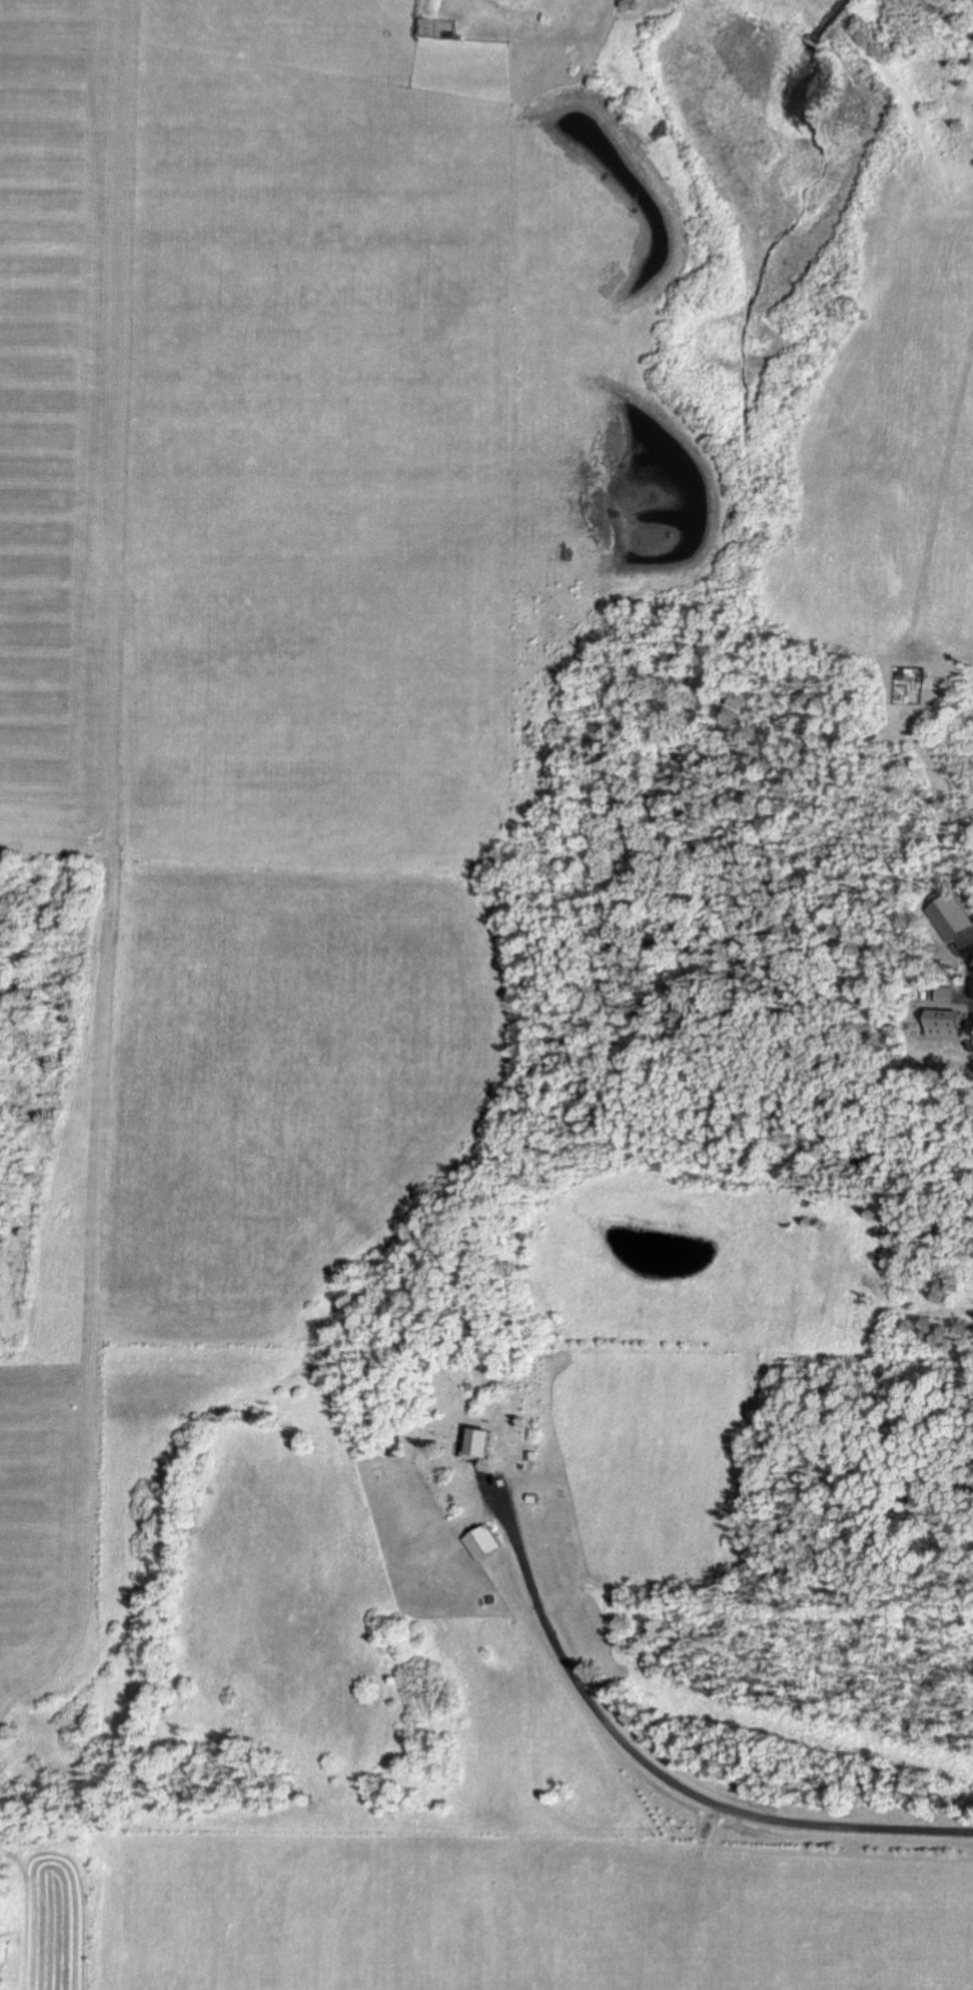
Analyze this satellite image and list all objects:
building: (569, 26)
building: (946, 993)
building: (945, 1019)
building: (478, 1440)
building: (393, 1441)
building: (531, 1453)
building: (533, 1496)
building: (484, 1541)
road: (661, 1776)

